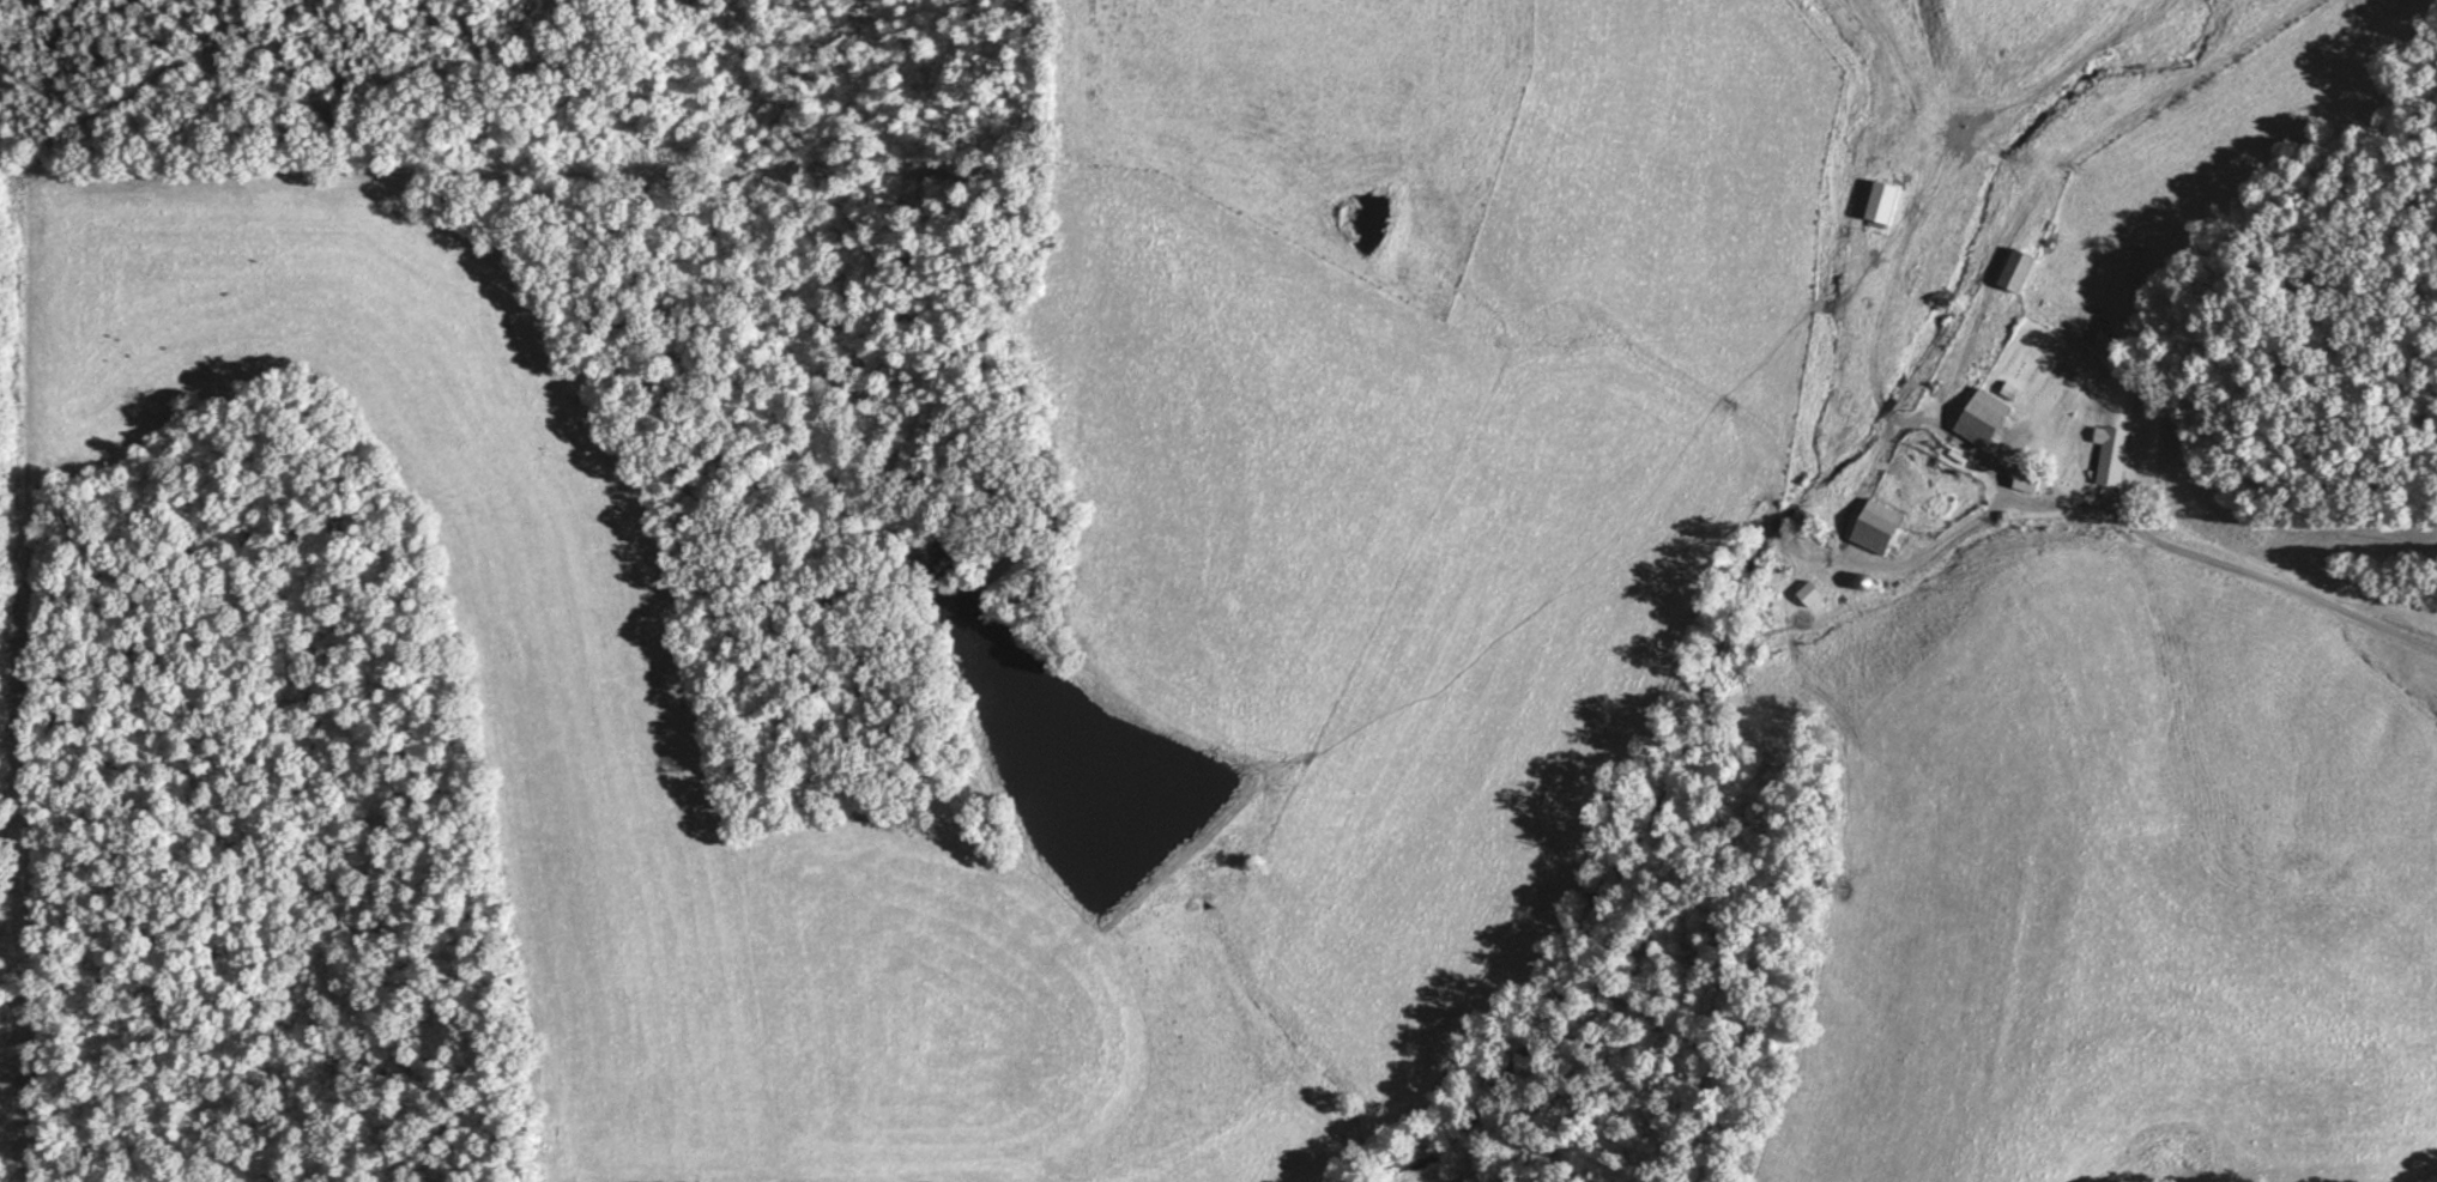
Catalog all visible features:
building: (1883, 201)
building: (2018, 269)
building: (2009, 389)
building: (1983, 418)
building: (2111, 455)
building: (2027, 480)
building: (1876, 527)
building: (1809, 594)
road: (2269, 606)

